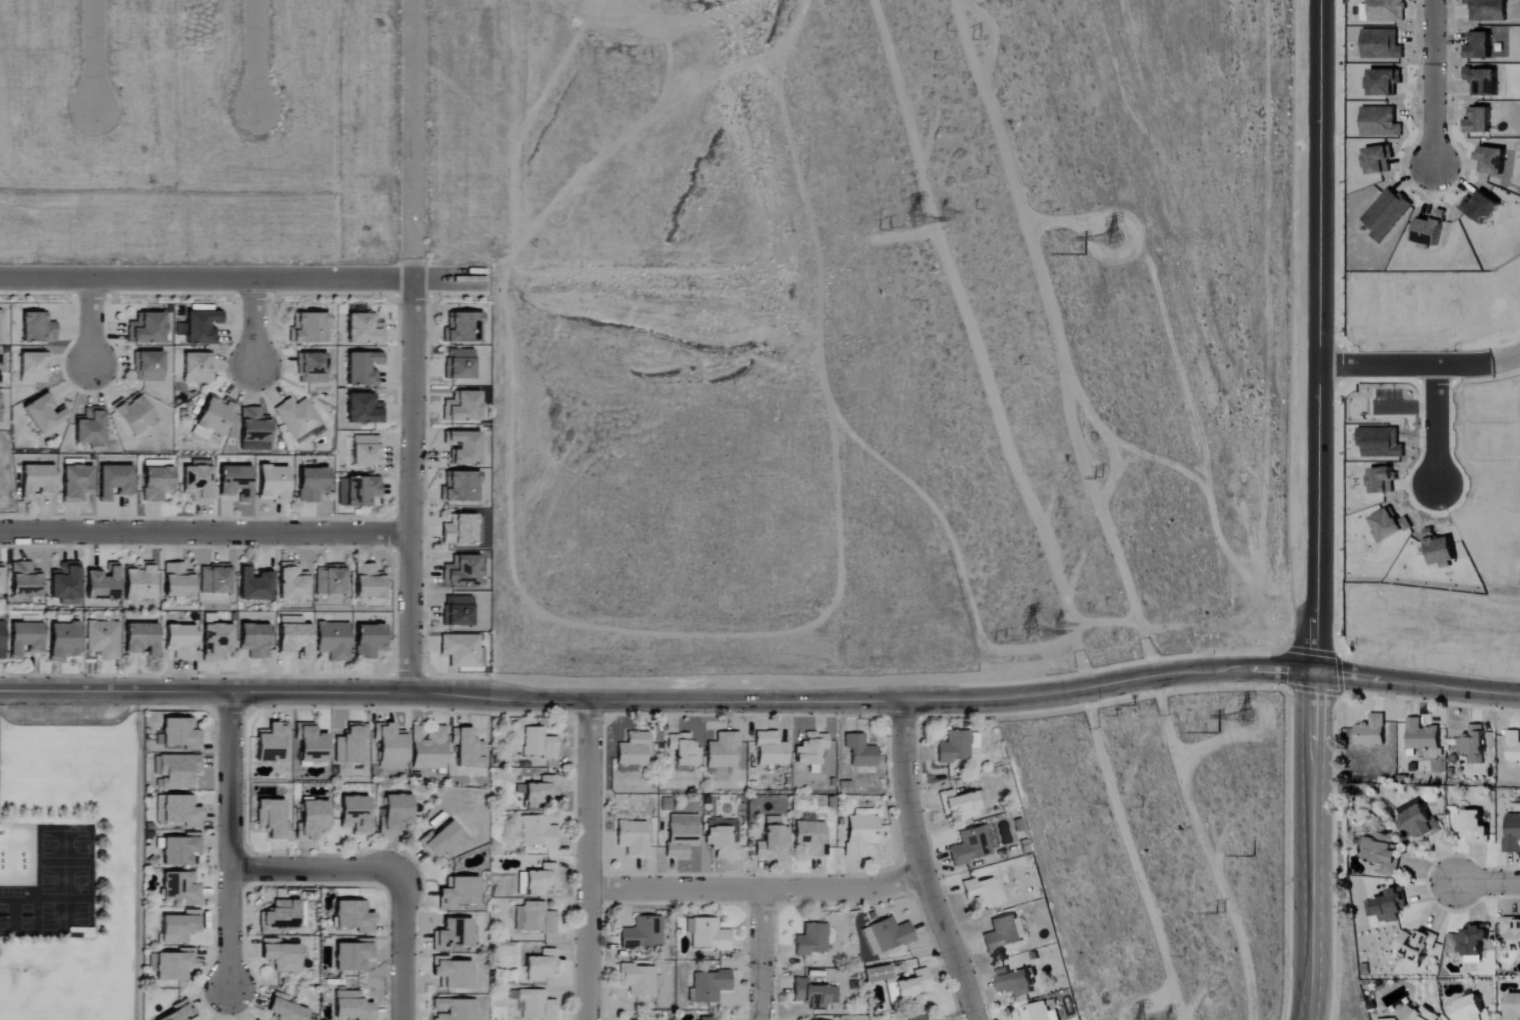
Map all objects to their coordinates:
building: (1388, 10)
building: (1488, 10)
power tower: (963, 35)
building: (1382, 44)
building: (1480, 47)
road: (94, 54)
road: (257, 55)
road: (1437, 79)
building: (1484, 81)
building: (1384, 82)
building: (1481, 120)
building: (1381, 123)
building: (1379, 160)
building: (1494, 161)
building: (1484, 208)
power tower: (927, 213)
building: (1387, 215)
power tower: (901, 217)
power tower: (884, 219)
building: (1429, 232)
power tower: (1114, 235)
road: (244, 278)
road: (89, 323)
road: (254, 323)
building: (1, 327)
building: (202, 327)
building: (37, 329)
building: (146, 329)
building: (308, 329)
building: (463, 329)
building: (365, 330)
road: (412, 345)
building: (2, 363)
building: (459, 365)
building: (148, 367)
building: (34, 368)
building: (197, 368)
road: (1418, 368)
building: (311, 369)
building: (363, 369)
building: (463, 407)
building: (364, 410)
building: (44, 414)
building: (133, 414)
building: (297, 418)
building: (213, 419)
building: (90, 427)
road: (1440, 427)
building: (254, 430)
building: (1381, 443)
building: (465, 448)
building: (366, 451)
building: (156, 480)
building: (198, 481)
building: (1383, 481)
building: (36, 482)
building: (114, 482)
power tower: (1098, 482)
building: (236, 483)
building: (76, 484)
building: (273, 484)
building: (312, 485)
building: (460, 488)
building: (358, 492)
road: (1313, 510)
building: (1390, 526)
building: (460, 531)
road: (204, 532)
building: (1442, 550)
building: (462, 572)
building: (24, 580)
building: (215, 580)
building: (330, 580)
building: (1, 581)
building: (178, 582)
building: (138, 583)
building: (293, 583)
building: (369, 583)
building: (66, 584)
building: (103, 585)
building: (255, 585)
building: (458, 612)
power tower: (1055, 627)
power tower: (1005, 633)
power tower: (1027, 633)
building: (294, 637)
building: (1, 639)
building: (25, 639)
building: (102, 640)
building: (141, 640)
building: (63, 641)
building: (254, 641)
building: (333, 641)
building: (369, 641)
building: (180, 642)
building: (216, 642)
building: (460, 651)
road: (762, 702)
power tower: (1247, 718)
building: (1372, 731)
building: (181, 733)
building: (1423, 735)
building: (271, 743)
building: (311, 743)
building: (351, 744)
building: (538, 744)
building: (1474, 744)
building: (1514, 745)
building: (390, 746)
building: (467, 747)
building: (954, 747)
building: (428, 748)
building: (811, 748)
building: (633, 749)
building: (683, 749)
building: (771, 750)
building: (723, 751)
building: (860, 751)
building: (176, 770)
building: (540, 791)
building: (960, 805)
building: (178, 810)
building: (395, 814)
building: (355, 815)
building: (272, 818)
building: (311, 819)
building: (772, 820)
building: (1419, 820)
building: (1474, 826)
building: (539, 832)
building: (1513, 834)
building: (681, 835)
building: (860, 835)
building: (632, 837)
building: (722, 838)
building: (809, 839)
building: (442, 840)
road: (228, 841)
building: (771, 841)
building: (970, 846)
building: (179, 849)
building: (1387, 851)
power tower: (1250, 855)
road: (587, 860)
road: (920, 865)
road: (317, 869)
building: (542, 879)
road: (1487, 883)
building: (180, 888)
road: (755, 888)
building: (458, 892)
building: (981, 892)
building: (1389, 905)
power tower: (1216, 914)
building: (280, 916)
building: (353, 916)
building: (534, 918)
building: (179, 926)
building: (1512, 929)
building: (643, 933)
building: (1002, 933)
building: (453, 934)
building: (707, 934)
building: (886, 935)
building: (812, 940)
building: (1470, 943)
building: (1416, 948)
road: (401, 951)
road: (760, 954)
building: (281, 955)
building: (352, 955)
building: (174, 964)
building: (541, 965)
building: (452, 973)
building: (878, 973)
building: (638, 980)
building: (1015, 982)
building: (710, 985)
building: (913, 986)
building: (813, 994)
building: (534, 1004)
building: (350, 1006)
building: (1513, 1008)
building: (285, 1009)
building: (453, 1009)
building: (1471, 1009)
building: (180, 1011)
building: (1040, 1011)
power tower: (1142, 1012)
building: (1421, 1014)
building: (918, 1017)
building: (642, 1018)
building: (705, 1018)
building: (940, 1019)
building: (1390, 1019)

